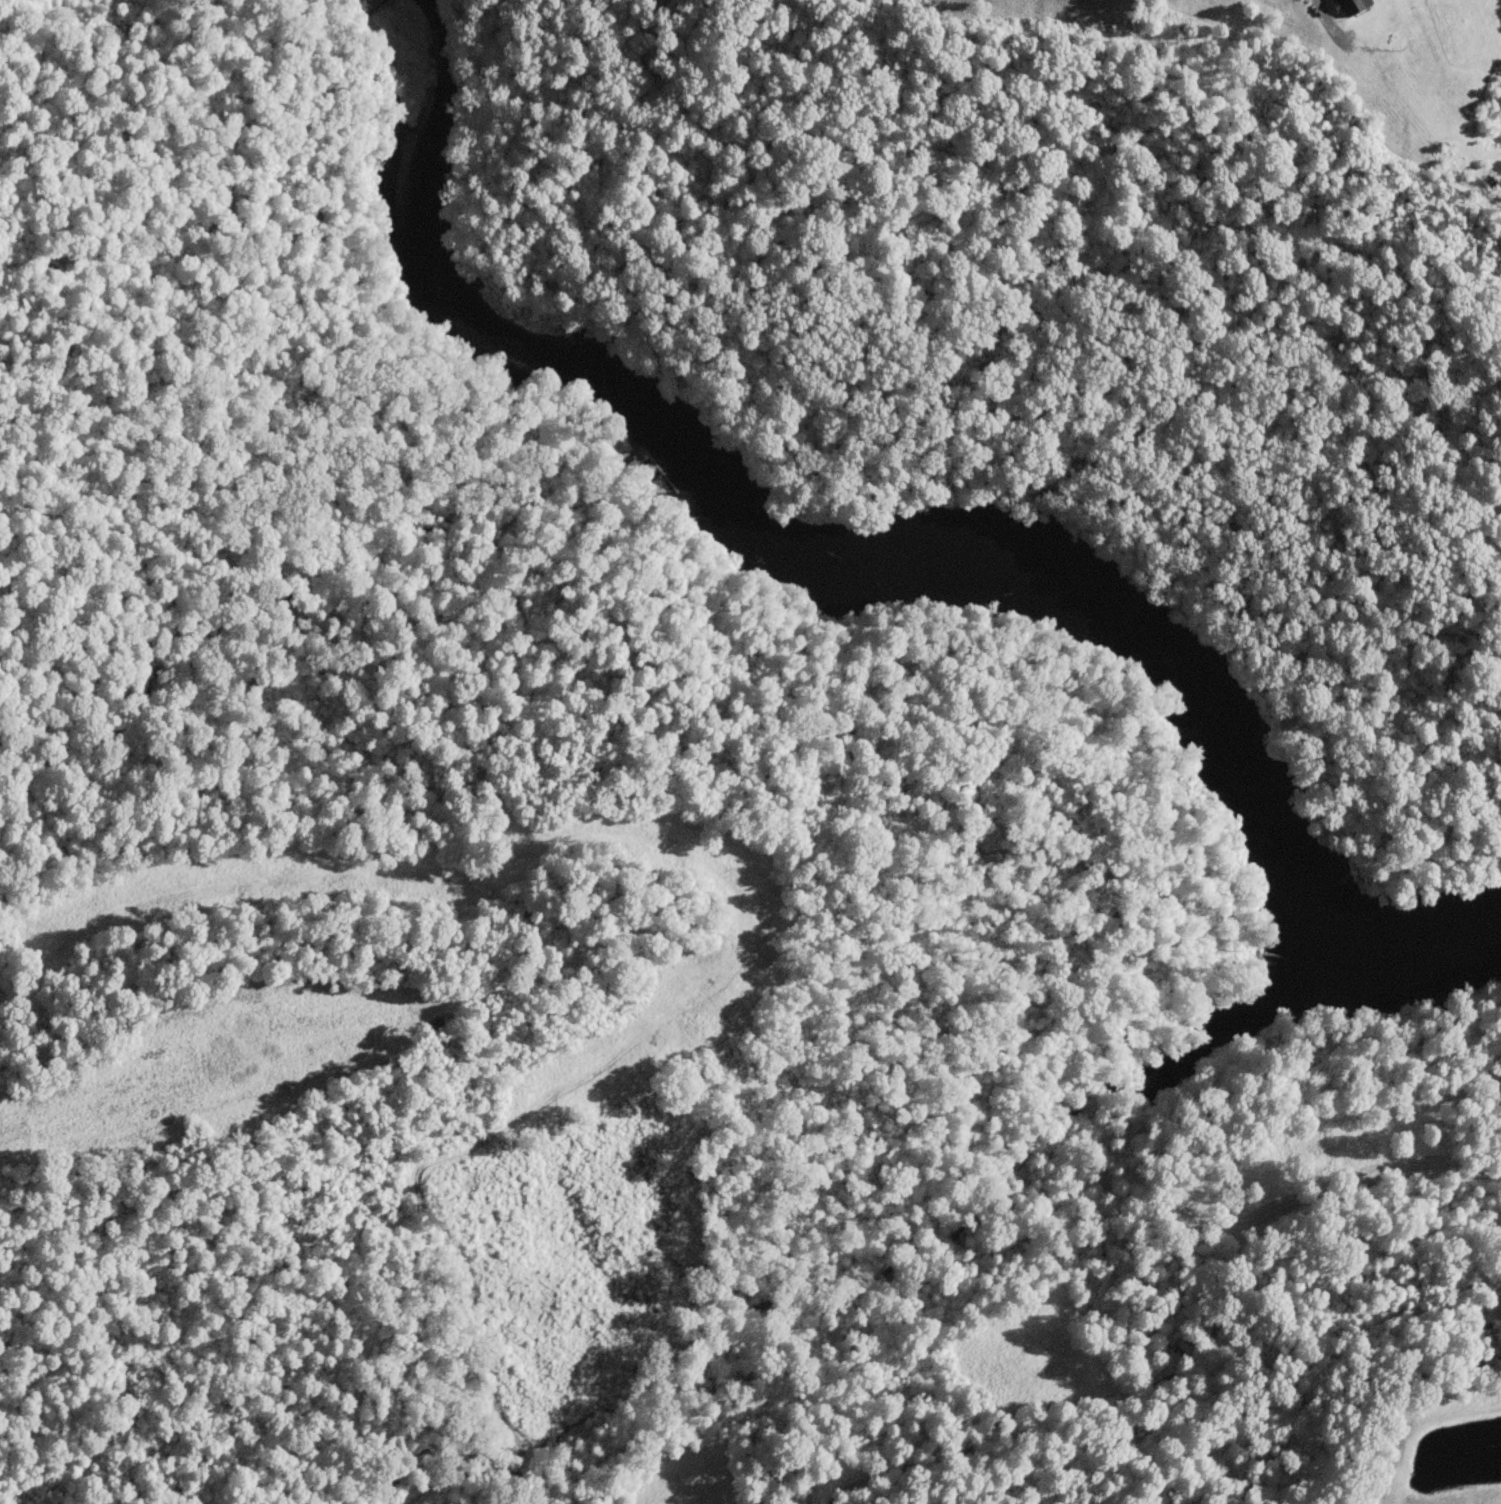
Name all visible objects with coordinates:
road: (1316, 3)

